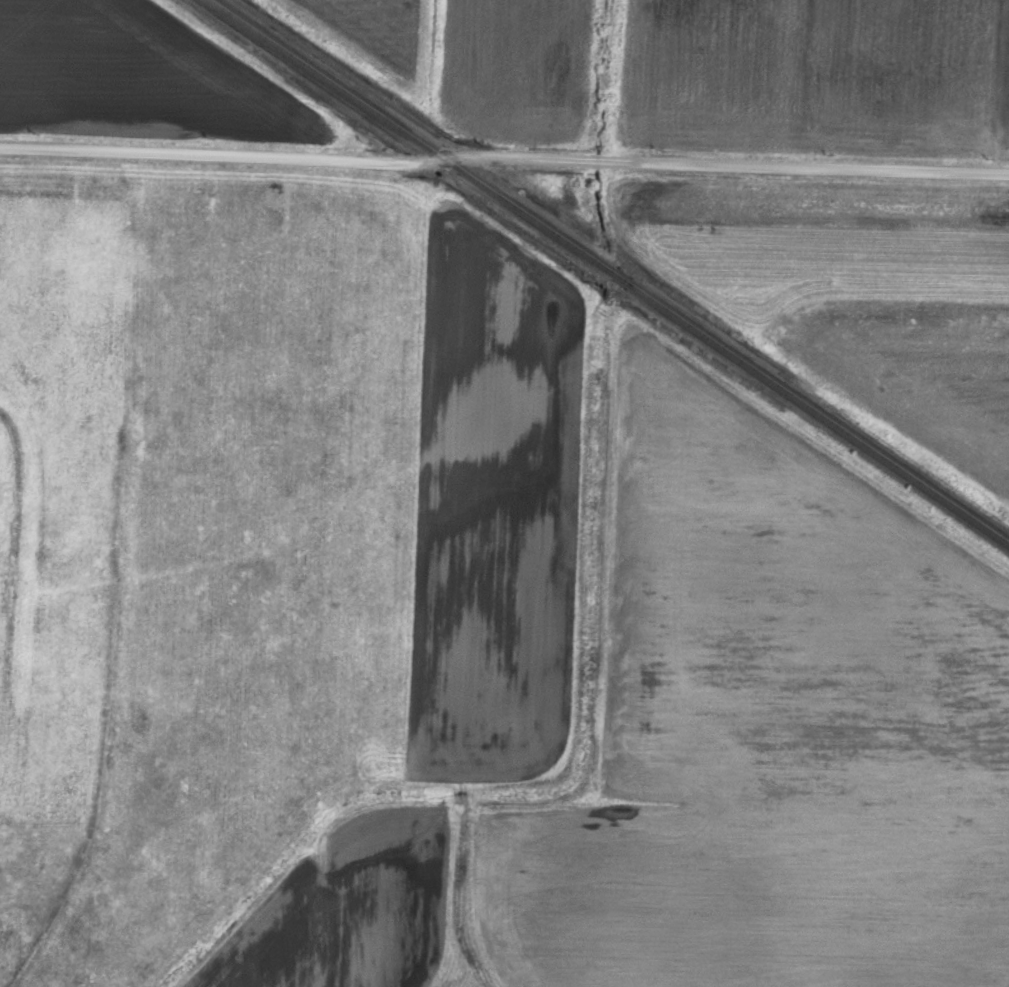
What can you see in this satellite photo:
road: (504, 156)
railway: (608, 273)

